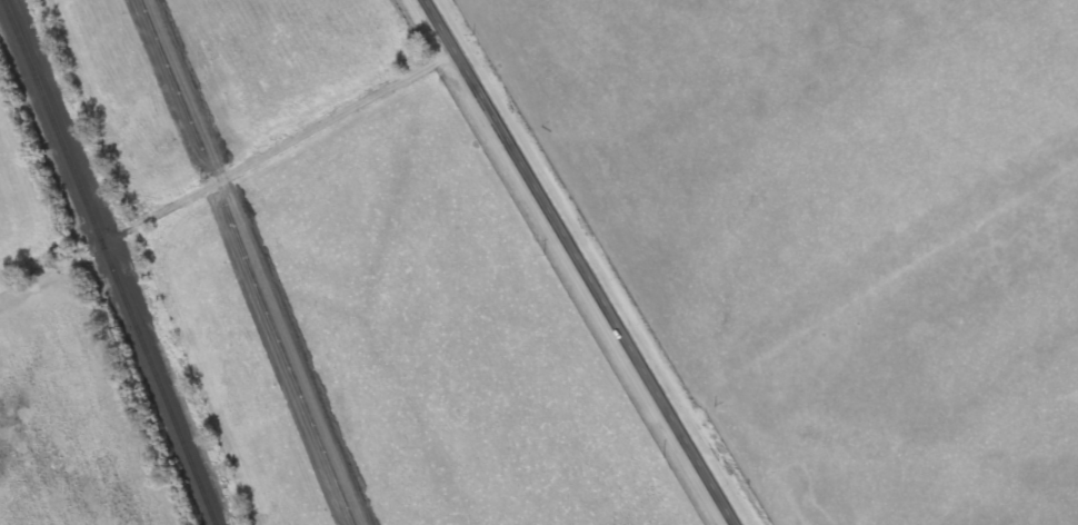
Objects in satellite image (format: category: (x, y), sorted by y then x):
road: (276, 149)
railway: (92, 222)
road: (576, 262)
road: (50, 273)
railway: (201, 484)
road: (696, 511)

